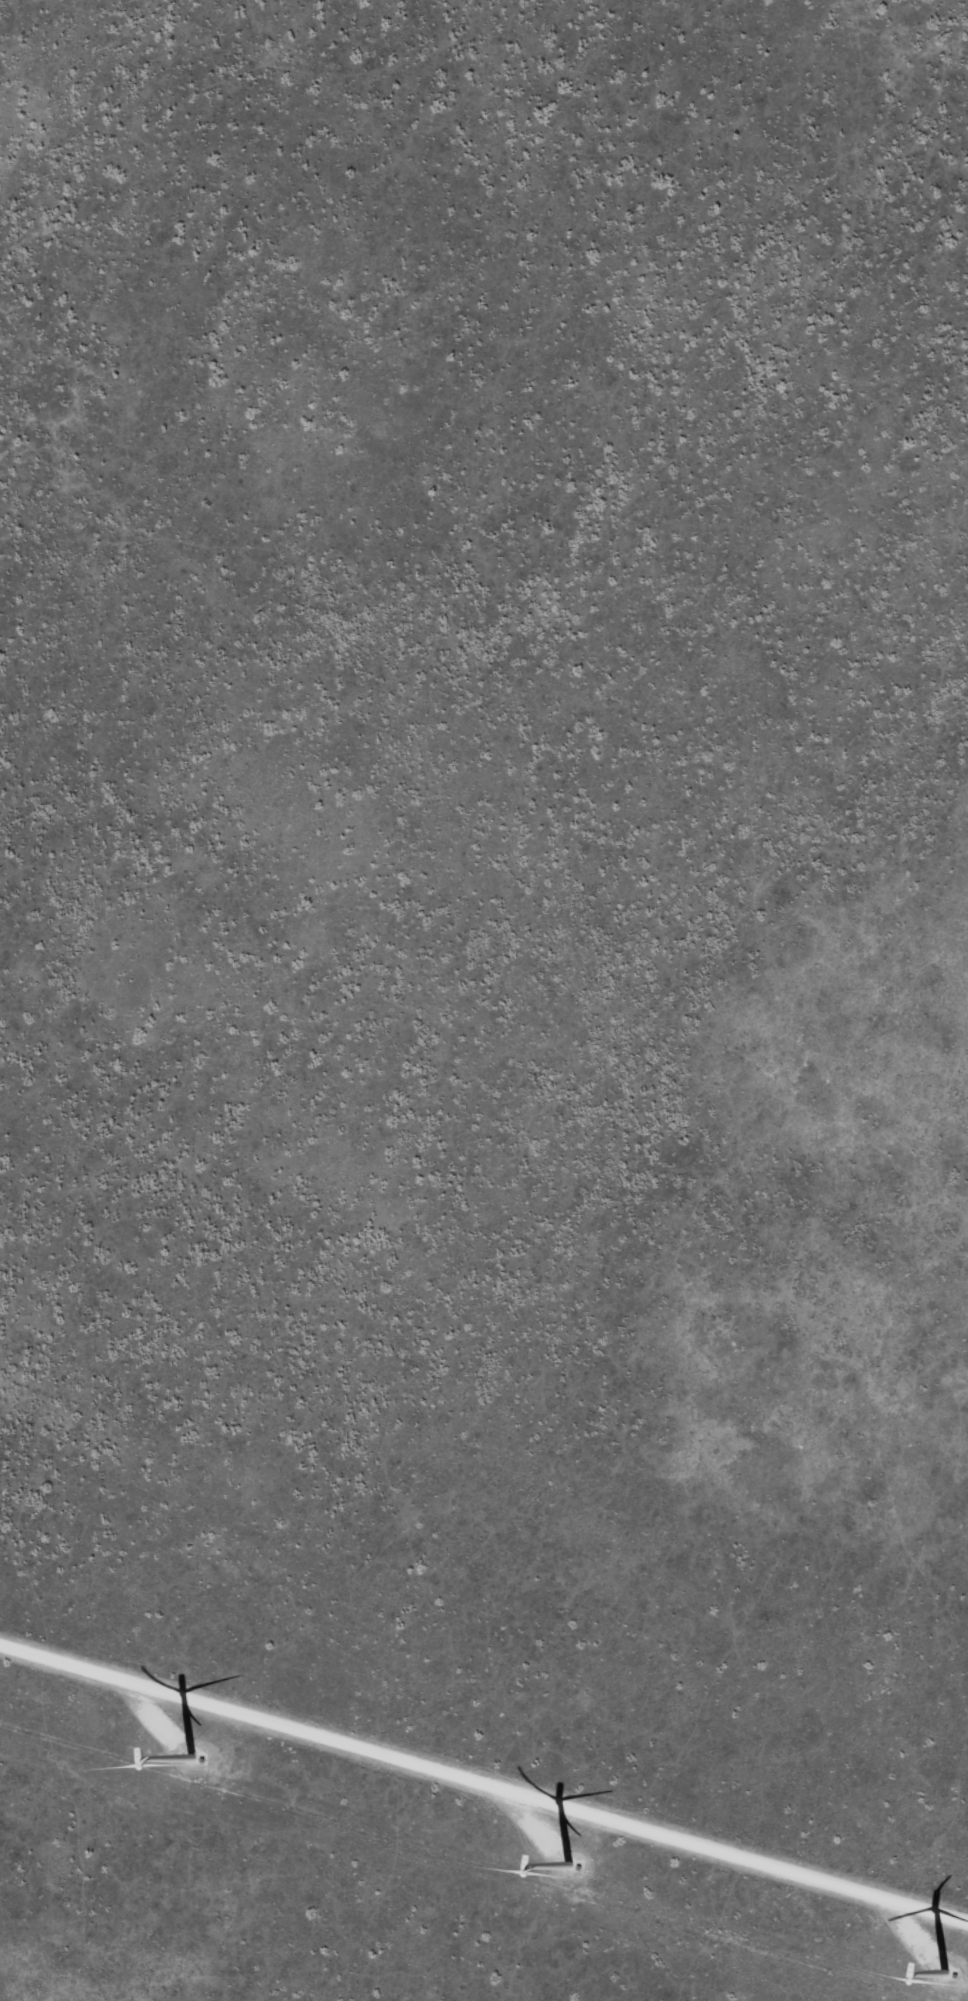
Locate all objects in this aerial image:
wind turbine: (176, 1762)
wind turbine: (576, 1871)
wind turbine: (926, 1967)

